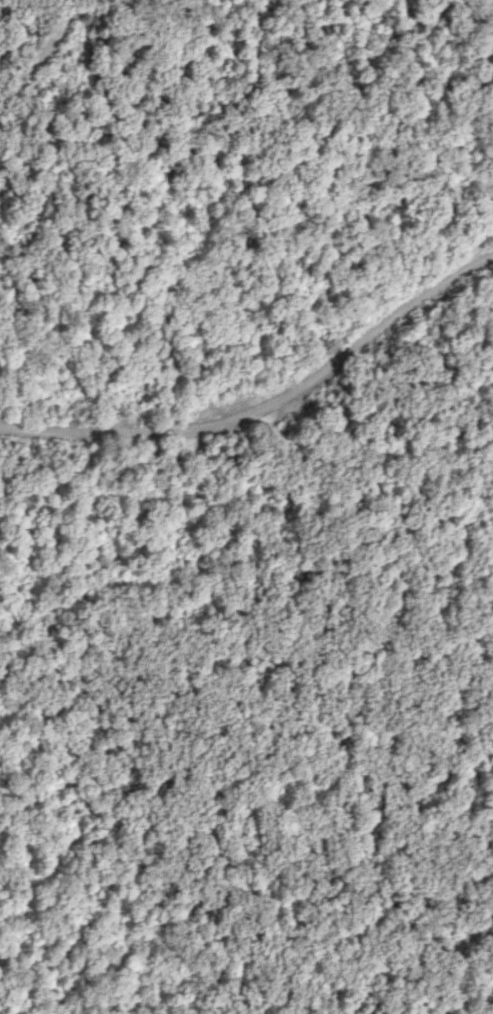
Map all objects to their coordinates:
road: (50, 86)
road: (266, 403)

